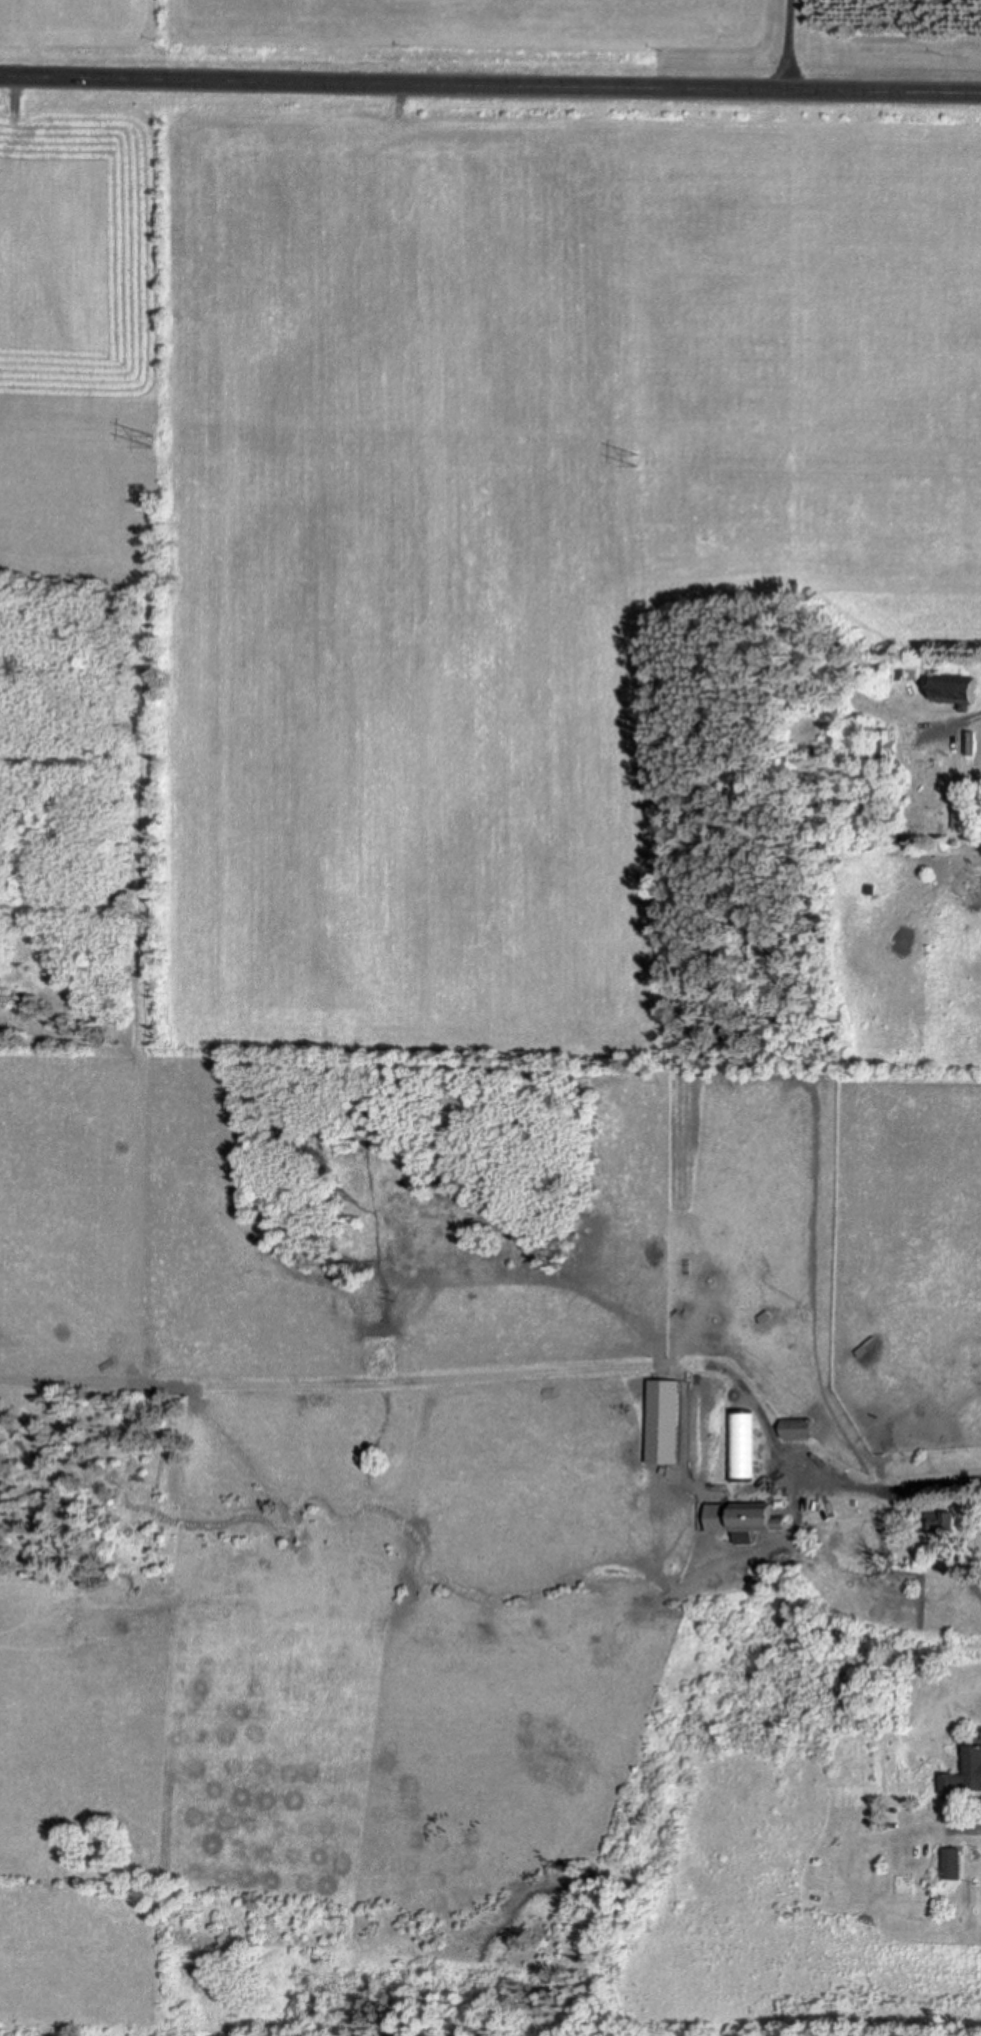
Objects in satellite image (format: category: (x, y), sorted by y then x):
road: (789, 45)
road: (490, 87)
power tower: (158, 441)
power tower: (650, 460)
building: (878, 666)
building: (957, 690)
road: (960, 726)
building: (971, 742)
building: (887, 748)
building: (967, 817)
building: (873, 858)
building: (765, 1315)
building: (861, 1348)
building: (797, 1425)
road: (896, 1490)
building: (742, 1513)
building: (942, 1517)
building: (965, 1769)
road: (969, 1828)
building: (952, 1860)

